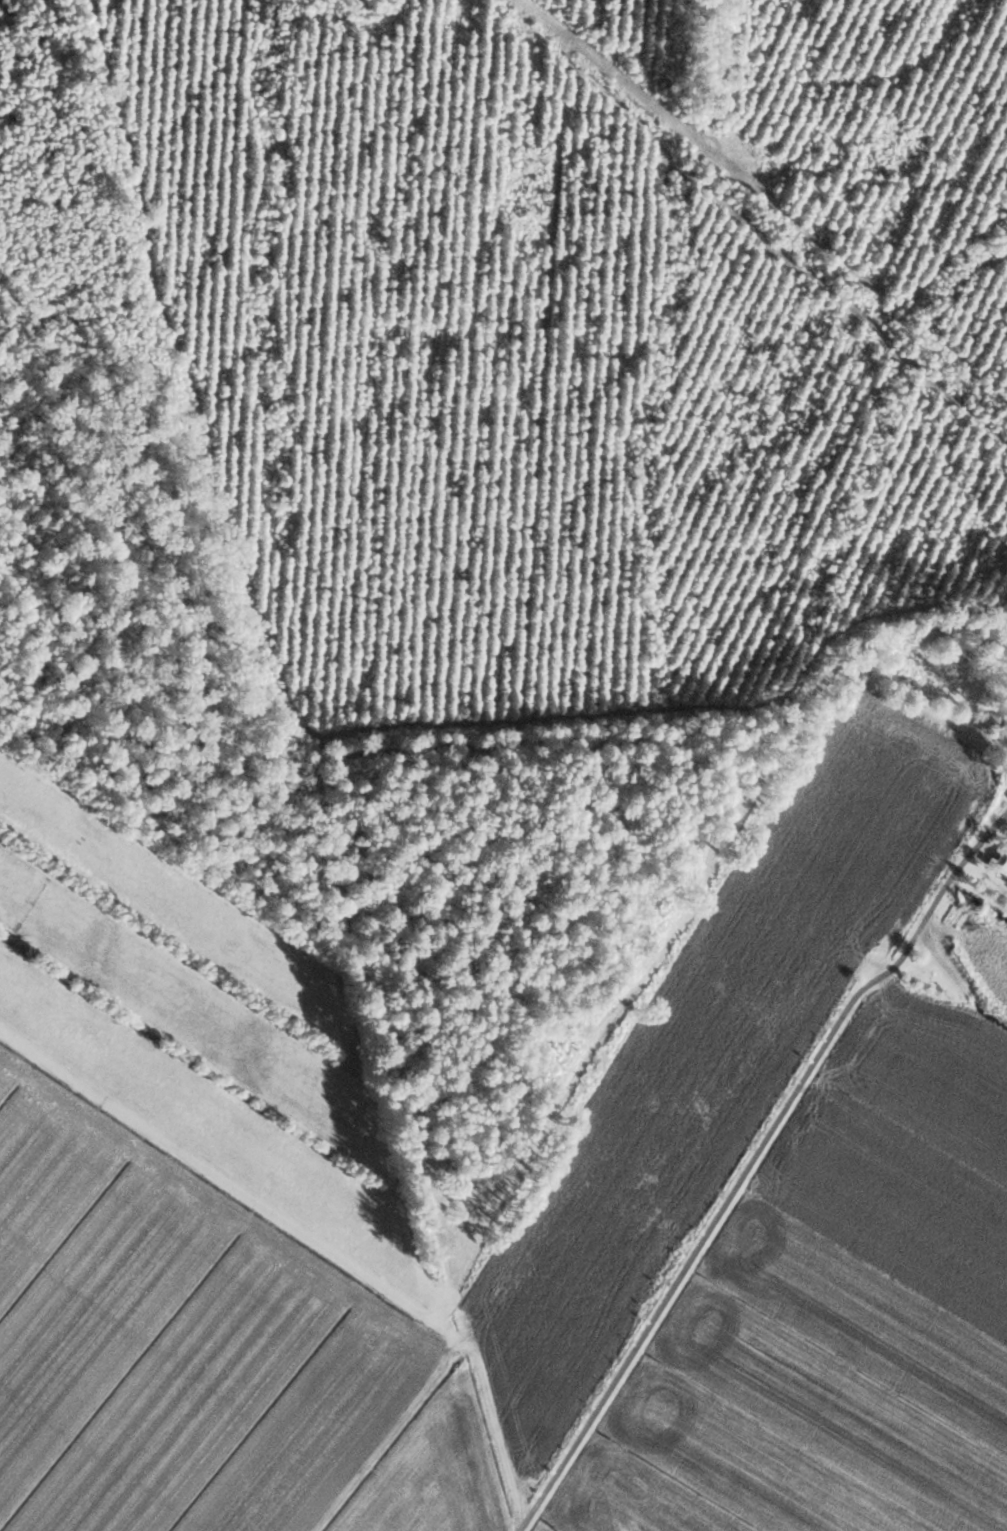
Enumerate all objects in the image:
building: (1002, 866)

